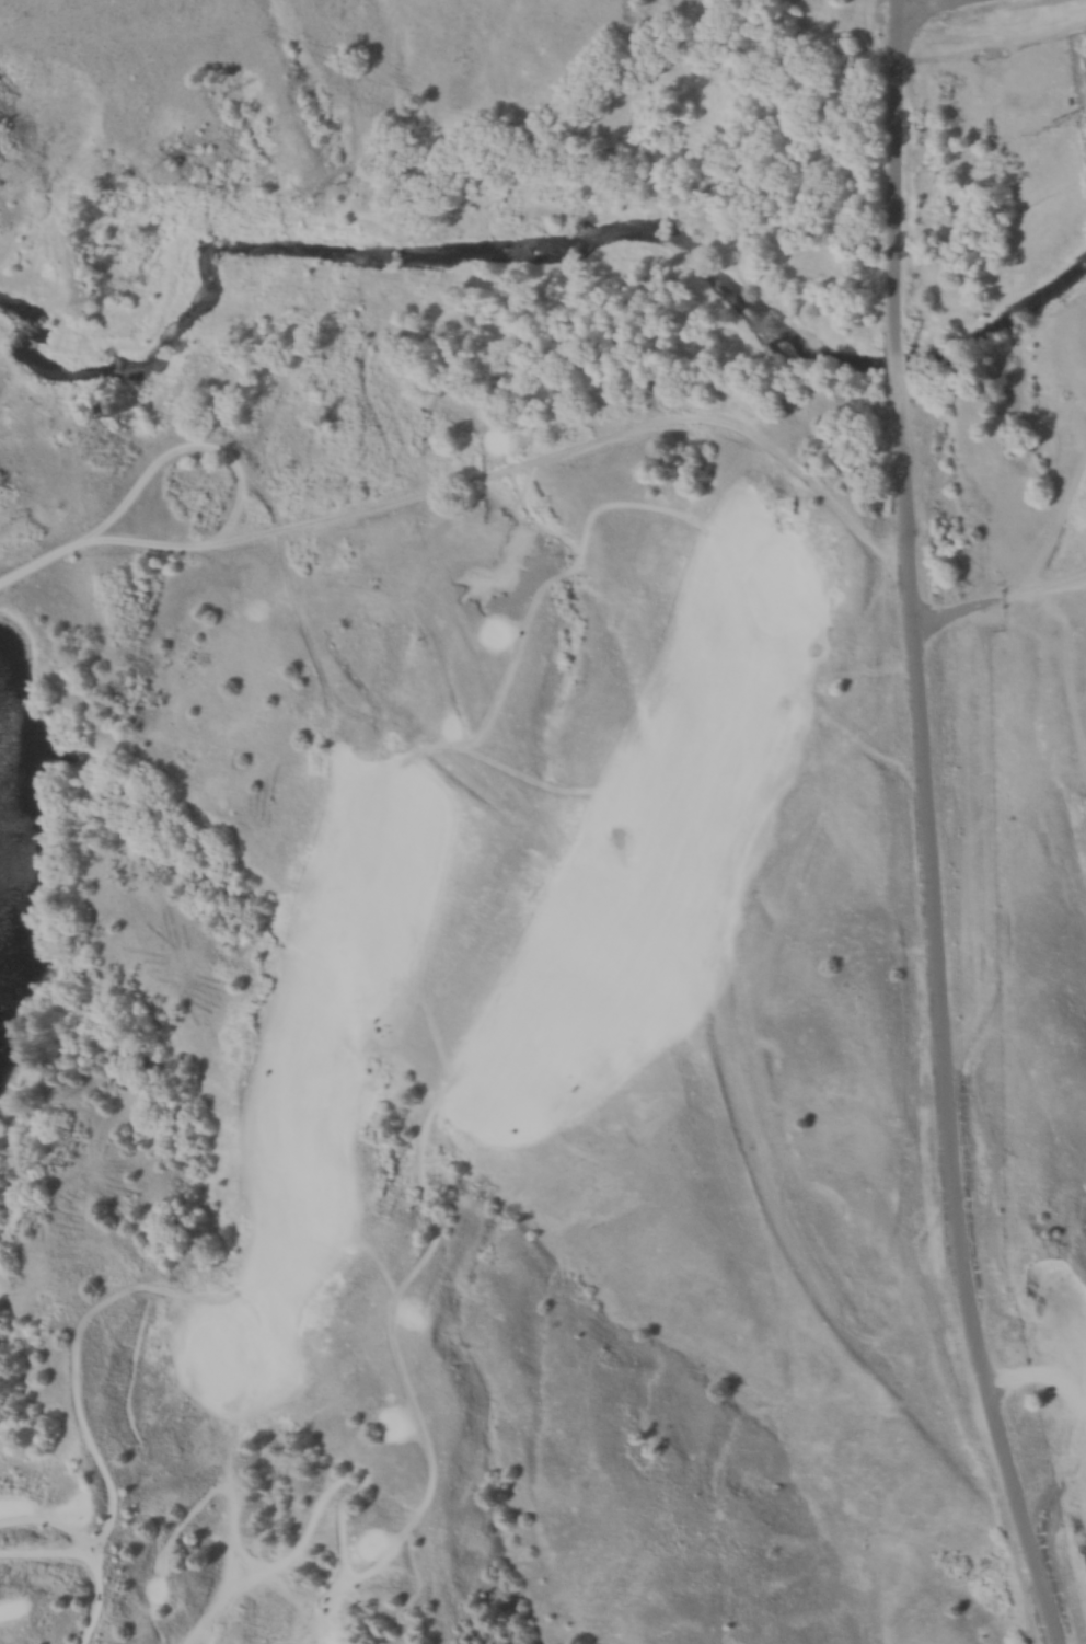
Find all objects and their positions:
road: (929, 5)
power tower: (1051, 130)
road: (900, 162)
road: (901, 358)
road: (236, 475)
road: (38, 563)
road: (1002, 601)
road: (946, 1023)

